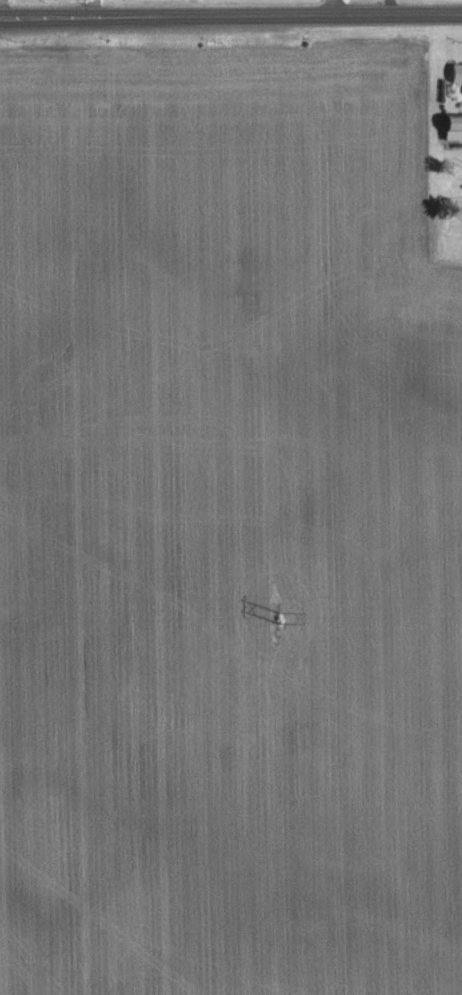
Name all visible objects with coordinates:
road: (327, 5)
road: (230, 11)
building: (457, 75)
building: (455, 127)

